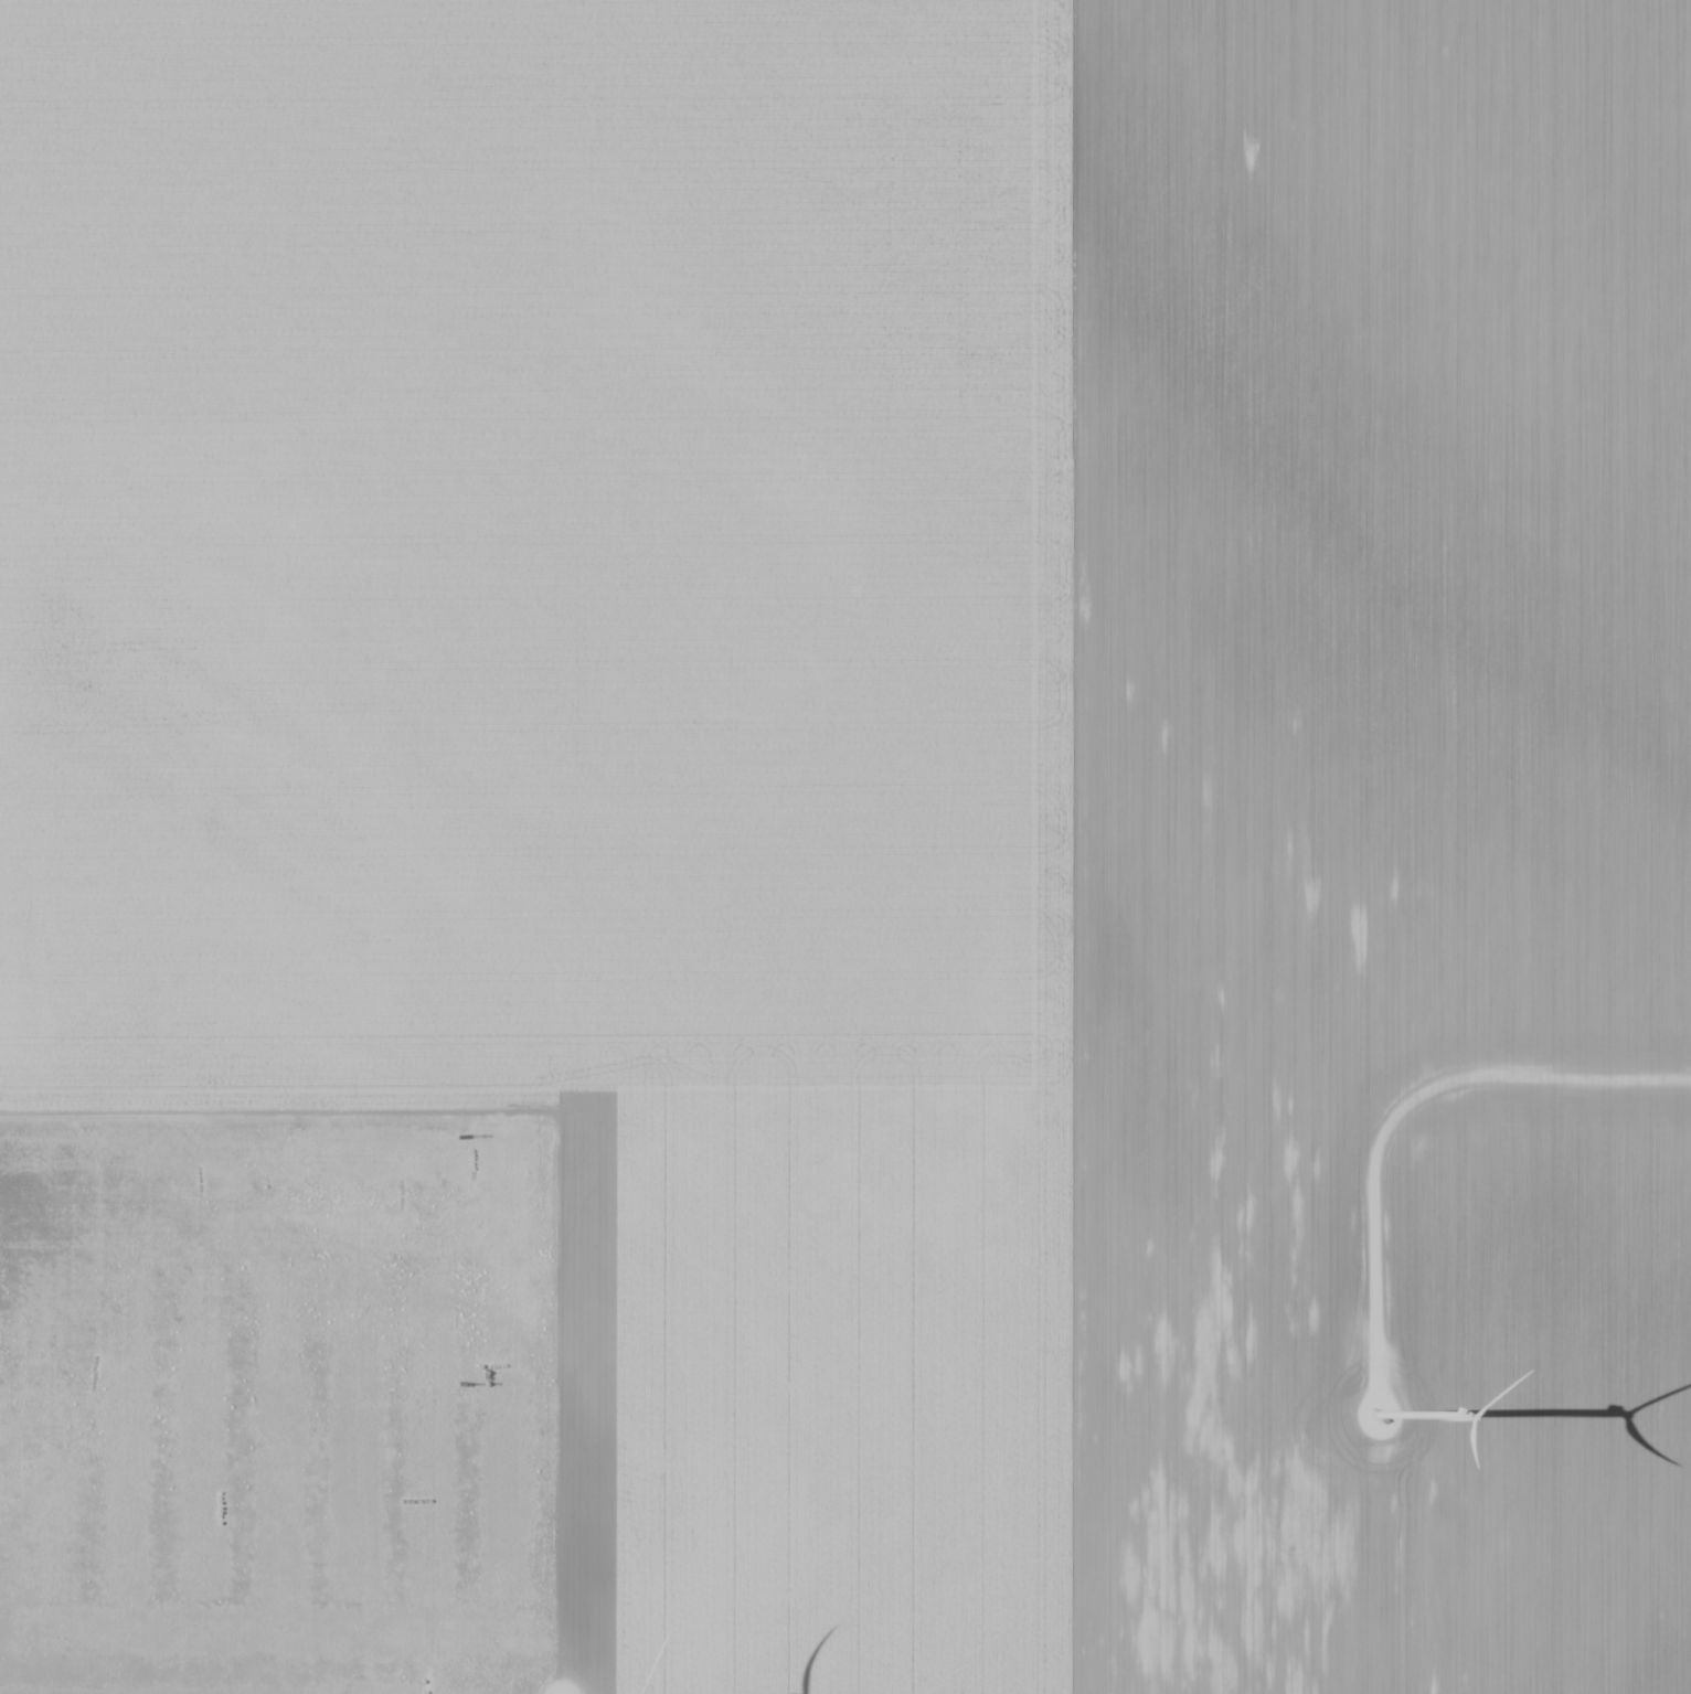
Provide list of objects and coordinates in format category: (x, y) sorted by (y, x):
wind turbine: (1364, 1416)

